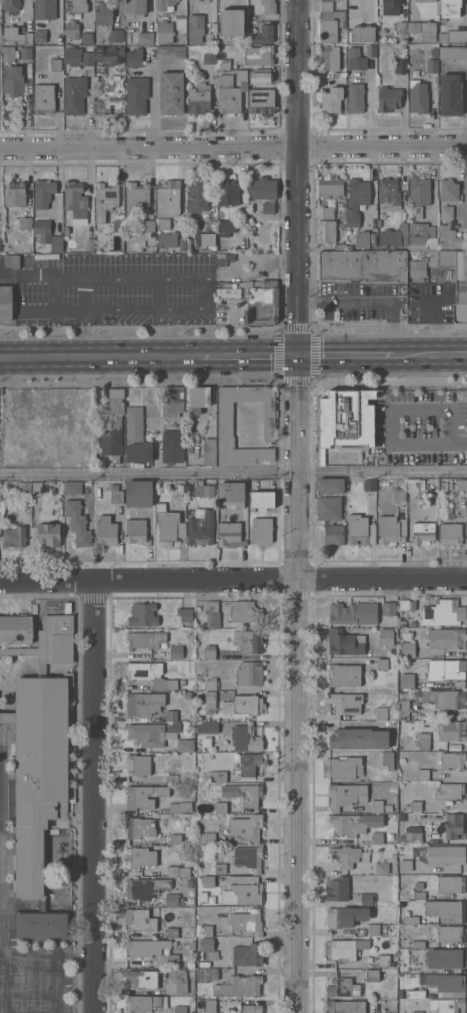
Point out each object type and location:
building: (194, 0)
building: (423, 0)
building: (391, 3)
building: (165, 4)
building: (11, 5)
building: (76, 6)
building: (326, 6)
building: (135, 7)
building: (268, 7)
building: (449, 8)
building: (44, 9)
building: (351, 11)
building: (103, 13)
building: (334, 16)
building: (231, 18)
building: (180, 23)
building: (402, 27)
building: (413, 27)
building: (195, 28)
building: (210, 28)
building: (72, 29)
building: (326, 31)
building: (427, 31)
building: (164, 32)
building: (362, 34)
building: (116, 35)
building: (263, 35)
building: (16, 36)
building: (40, 36)
building: (453, 36)
building: (145, 37)
building: (86, 38)
building: (370, 50)
building: (434, 51)
building: (170, 52)
building: (26, 53)
building: (453, 53)
building: (8, 54)
building: (72, 55)
building: (109, 55)
building: (258, 55)
building: (208, 57)
building: (329, 57)
building: (87, 58)
building: (133, 58)
building: (355, 59)
building: (226, 64)
building: (56, 65)
building: (400, 66)
building: (431, 66)
building: (261, 74)
building: (339, 75)
building: (12, 80)
building: (171, 93)
building: (229, 93)
building: (74, 95)
building: (136, 95)
building: (450, 95)
building: (417, 97)
building: (355, 98)
building: (43, 99)
building: (198, 99)
building: (388, 99)
building: (331, 100)
building: (260, 101)
building: (116, 104)
road: (370, 110)
road: (233, 148)
road: (463, 185)
building: (329, 187)
building: (261, 188)
building: (448, 190)
building: (418, 191)
building: (14, 193)
building: (197, 193)
building: (227, 193)
building: (388, 194)
building: (43, 196)
building: (136, 197)
building: (168, 198)
building: (75, 199)
building: (104, 200)
building: (356, 200)
building: (267, 208)
building: (327, 213)
building: (446, 213)
building: (25, 223)
building: (163, 223)
building: (116, 225)
building: (149, 226)
building: (341, 226)
building: (225, 228)
building: (65, 229)
building: (42, 230)
building: (327, 231)
building: (393, 237)
building: (450, 237)
building: (364, 239)
building: (420, 239)
building: (202, 240)
building: (165, 241)
building: (57, 244)
building: (89, 244)
building: (182, 244)
building: (12, 261)
building: (423, 264)
building: (362, 265)
building: (456, 280)
building: (420, 291)
building: (227, 292)
road: (372, 300)
building: (260, 302)
building: (6, 303)
road: (144, 309)
road: (68, 312)
road: (430, 355)
road: (345, 356)
road: (248, 357)
traffic signals: (297, 357)
road: (99, 358)
building: (194, 398)
building: (172, 401)
road: (389, 410)
building: (224, 419)
building: (346, 419)
building: (112, 426)
building: (137, 438)
road: (459, 444)
building: (172, 446)
building: (208, 452)
road: (233, 473)
building: (329, 485)
building: (369, 485)
building: (415, 485)
building: (462, 485)
building: (25, 487)
building: (37, 487)
building: (72, 488)
building: (179, 488)
building: (203, 490)
building: (140, 493)
building: (115, 494)
building: (230, 494)
building: (399, 495)
building: (260, 500)
road: (296, 506)
building: (327, 508)
building: (78, 522)
building: (166, 527)
building: (200, 527)
building: (135, 530)
building: (360, 530)
building: (391, 530)
building: (106, 531)
building: (261, 531)
building: (450, 532)
building: (423, 533)
building: (48, 534)
building: (333, 534)
building: (228, 535)
building: (14, 537)
road: (233, 581)
building: (404, 604)
building: (67, 607)
building: (388, 609)
building: (244, 612)
building: (353, 613)
building: (442, 613)
building: (185, 614)
building: (143, 615)
building: (212, 615)
building: (413, 624)
building: (41, 636)
building: (385, 637)
building: (446, 638)
building: (146, 640)
building: (247, 641)
building: (344, 642)
building: (406, 649)
building: (369, 650)
building: (18, 651)
building: (209, 651)
building: (175, 652)
building: (382, 664)
building: (446, 669)
building: (44, 671)
building: (249, 673)
building: (150, 675)
building: (344, 675)
building: (406, 681)
building: (182, 682)
building: (210, 684)
building: (416, 692)
building: (188, 695)
building: (210, 697)
building: (444, 698)
building: (143, 703)
building: (345, 704)
building: (243, 705)
building: (403, 709)
building: (380, 714)
building: (170, 715)
building: (173, 726)
building: (207, 727)
building: (451, 731)
building: (146, 734)
building: (245, 738)
building: (358, 739)
building: (423, 741)
building: (184, 745)
building: (385, 760)
building: (452, 761)
building: (248, 764)
building: (138, 765)
building: (342, 768)
building: (38, 772)
building: (422, 774)
building: (216, 776)
building: (180, 777)
building: (449, 791)
building: (243, 793)
building: (346, 795)
building: (144, 796)
road: (93, 797)
building: (376, 806)
building: (415, 806)
building: (180, 807)
building: (220, 807)
building: (354, 823)
building: (453, 826)
building: (139, 827)
building: (246, 827)
building: (413, 834)
building: (389, 836)
building: (377, 837)
building: (206, 838)
building: (401, 838)
building: (175, 839)
building: (445, 854)
building: (345, 856)
building: (364, 857)
building: (140, 858)
building: (248, 858)
building: (380, 868)
building: (219, 869)
building: (177, 871)
building: (207, 881)
building: (189, 883)
building: (450, 884)
building: (144, 888)
building: (337, 889)
building: (242, 890)
building: (419, 894)
building: (367, 899)
building: (173, 900)
building: (41, 906)
building: (446, 909)
building: (345, 916)
building: (409, 919)
building: (139, 920)
building: (246, 922)
building: (41, 924)
building: (373, 930)
building: (206, 931)
building: (174, 932)
building: (450, 934)
building: (417, 944)
building: (145, 948)
building: (207, 948)
building: (345, 949)
building: (246, 955)
building: (446, 958)
building: (172, 959)
building: (383, 960)
building: (59, 963)
building: (206, 975)
building: (372, 975)
building: (142, 979)
building: (430, 979)
building: (180, 981)
building: (450, 983)
building: (238, 986)
building: (342, 988)
building: (400, 993)
building: (415, 993)
building: (145, 1003)
building: (446, 1005)
building: (209, 1006)
building: (344, 1007)
building: (179, 1009)
building: (250, 1009)
building: (416, 1012)

